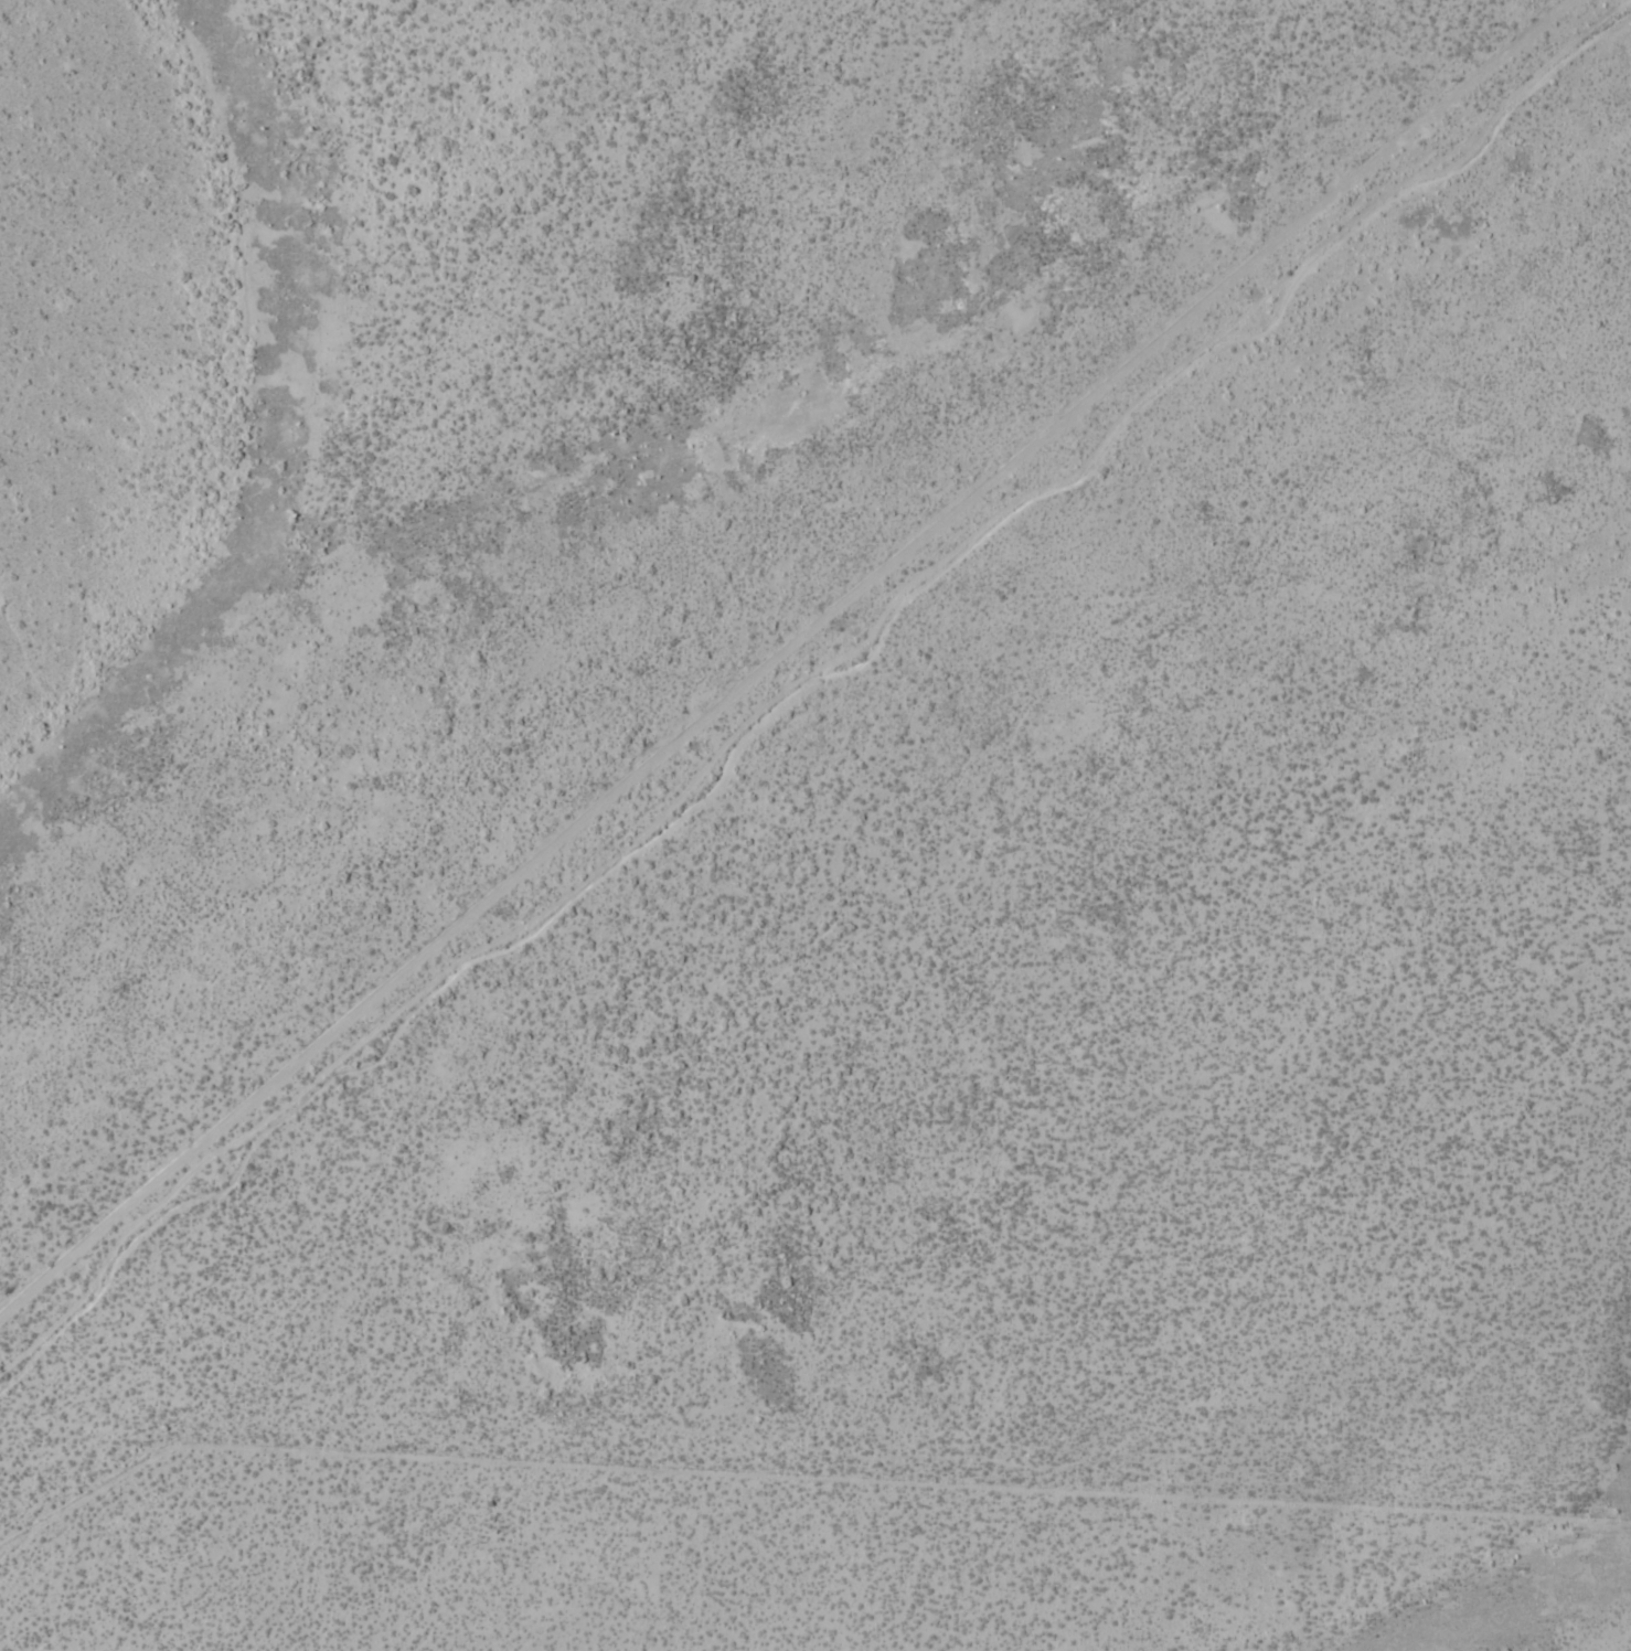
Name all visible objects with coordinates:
road: (812, 671)

